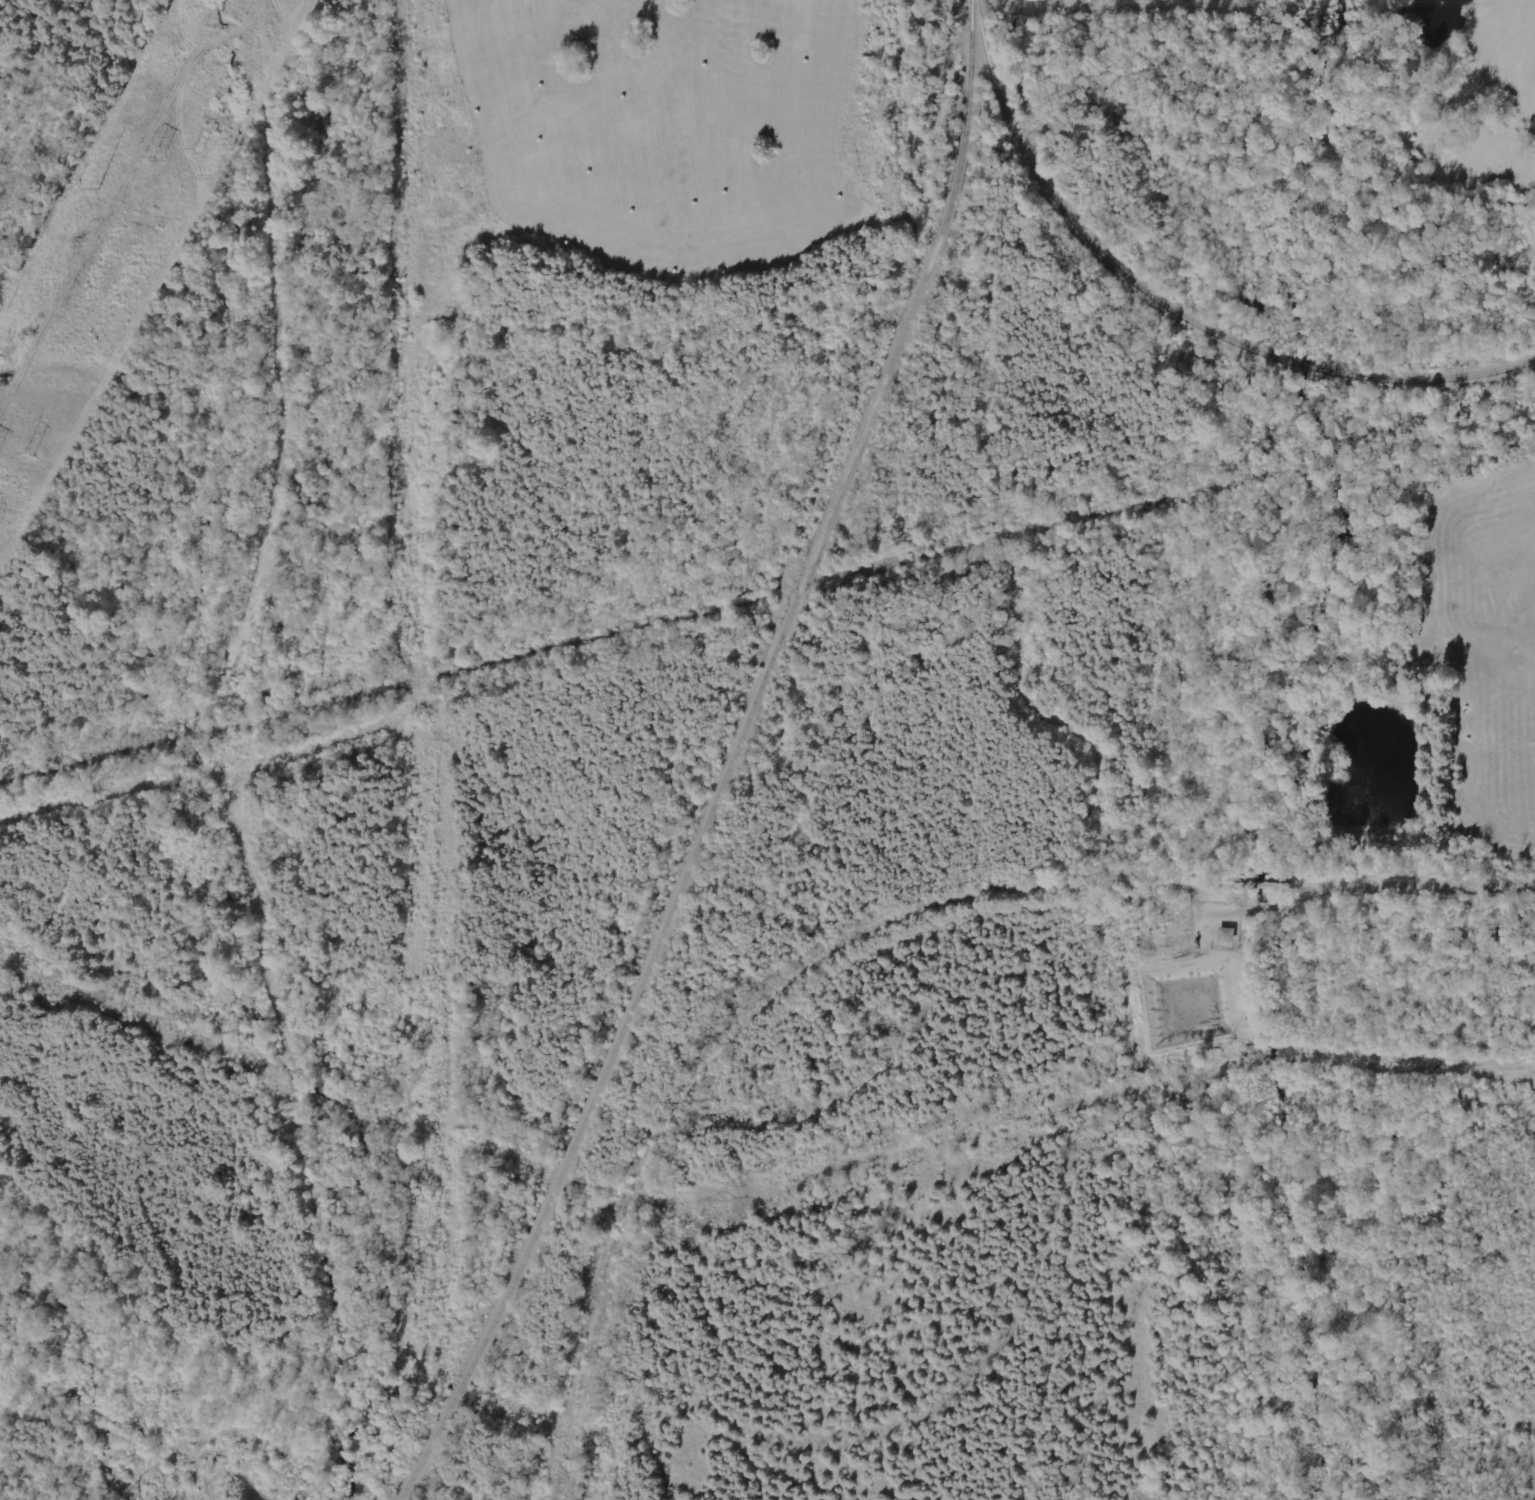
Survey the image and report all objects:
railway: (1070, 220)
railway: (1304, 365)
railway: (1438, 379)
railway: (1170, 497)
railway: (396, 684)
railway: (728, 763)
building: (1227, 934)

